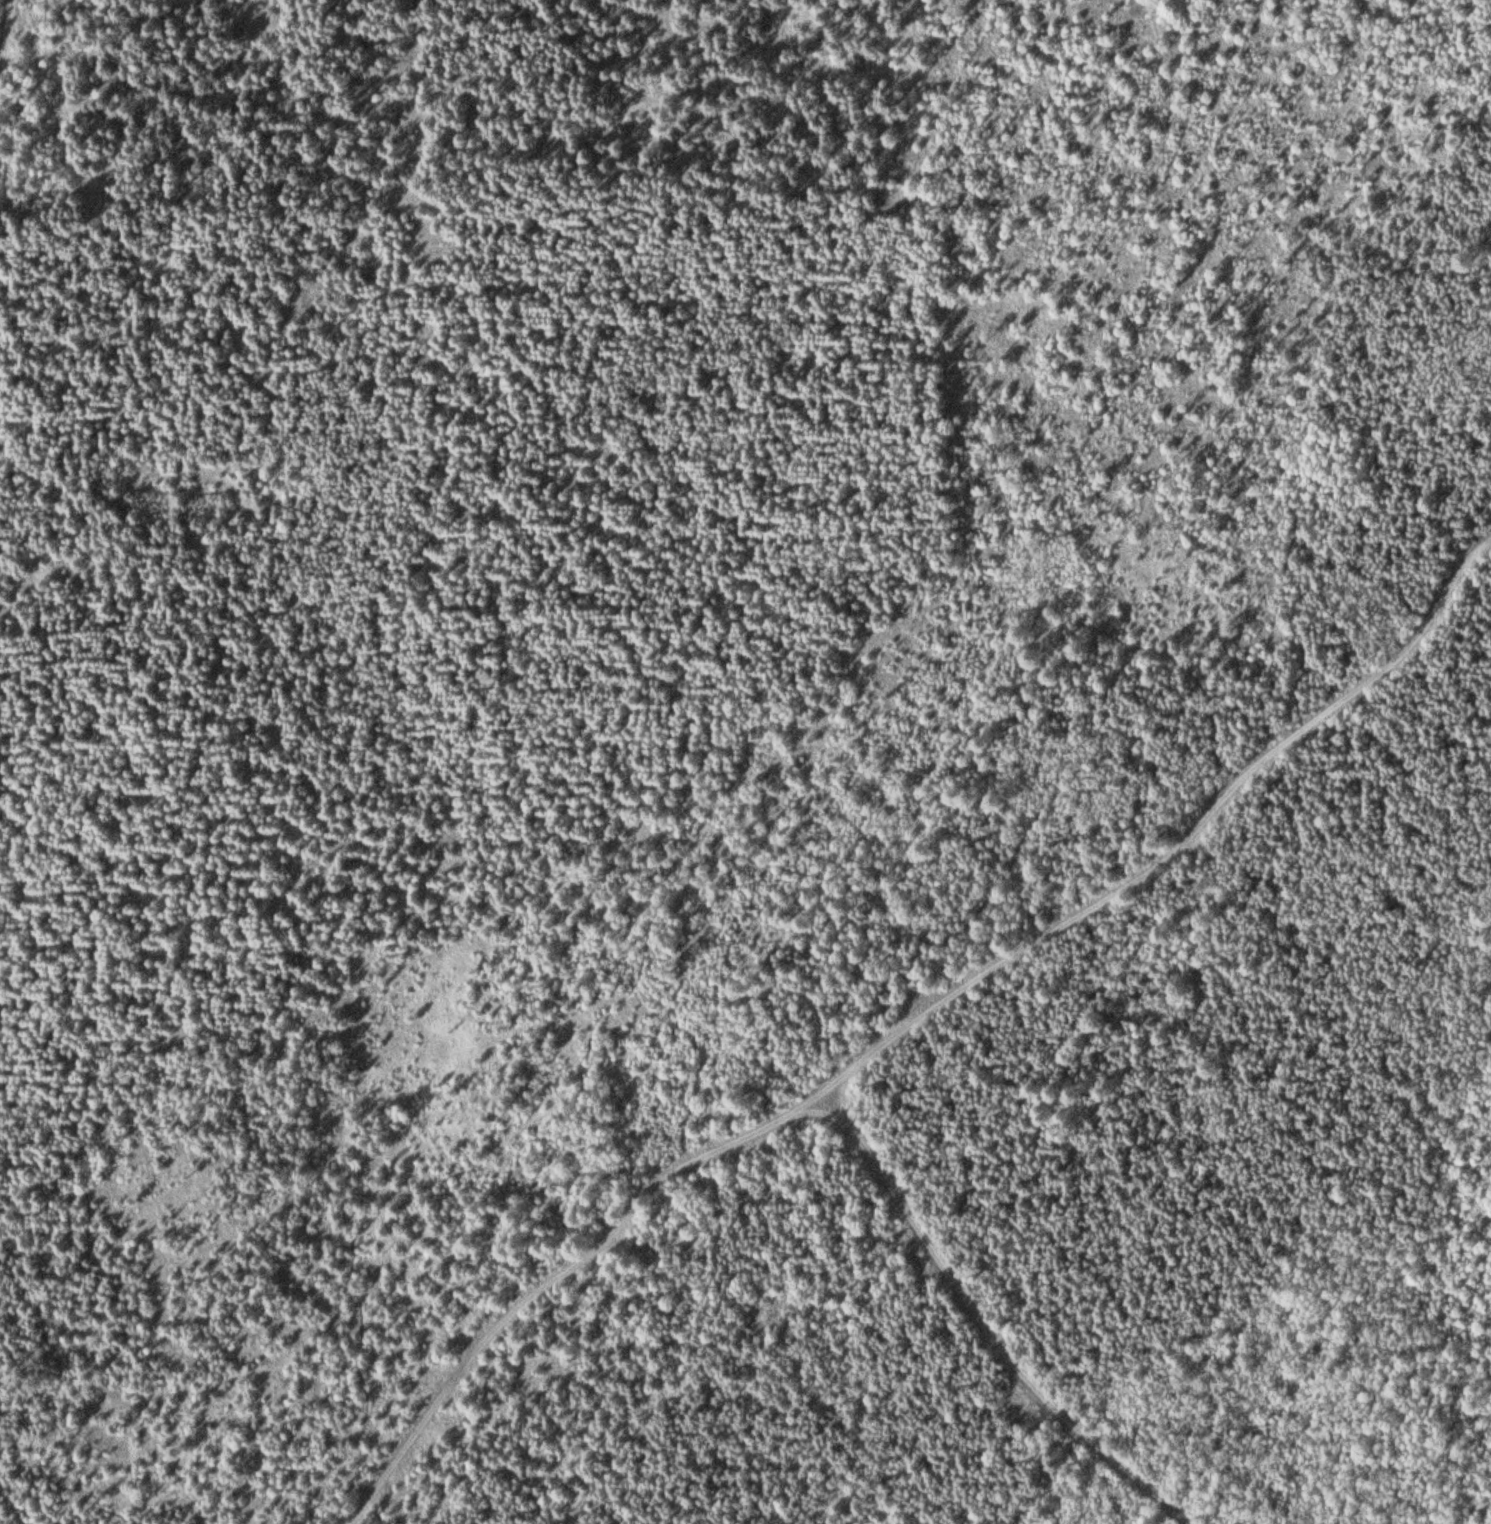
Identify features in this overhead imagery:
road: (13, 50)
road: (840, 884)
road: (917, 1025)
road: (1001, 1321)
road: (103, 1506)

